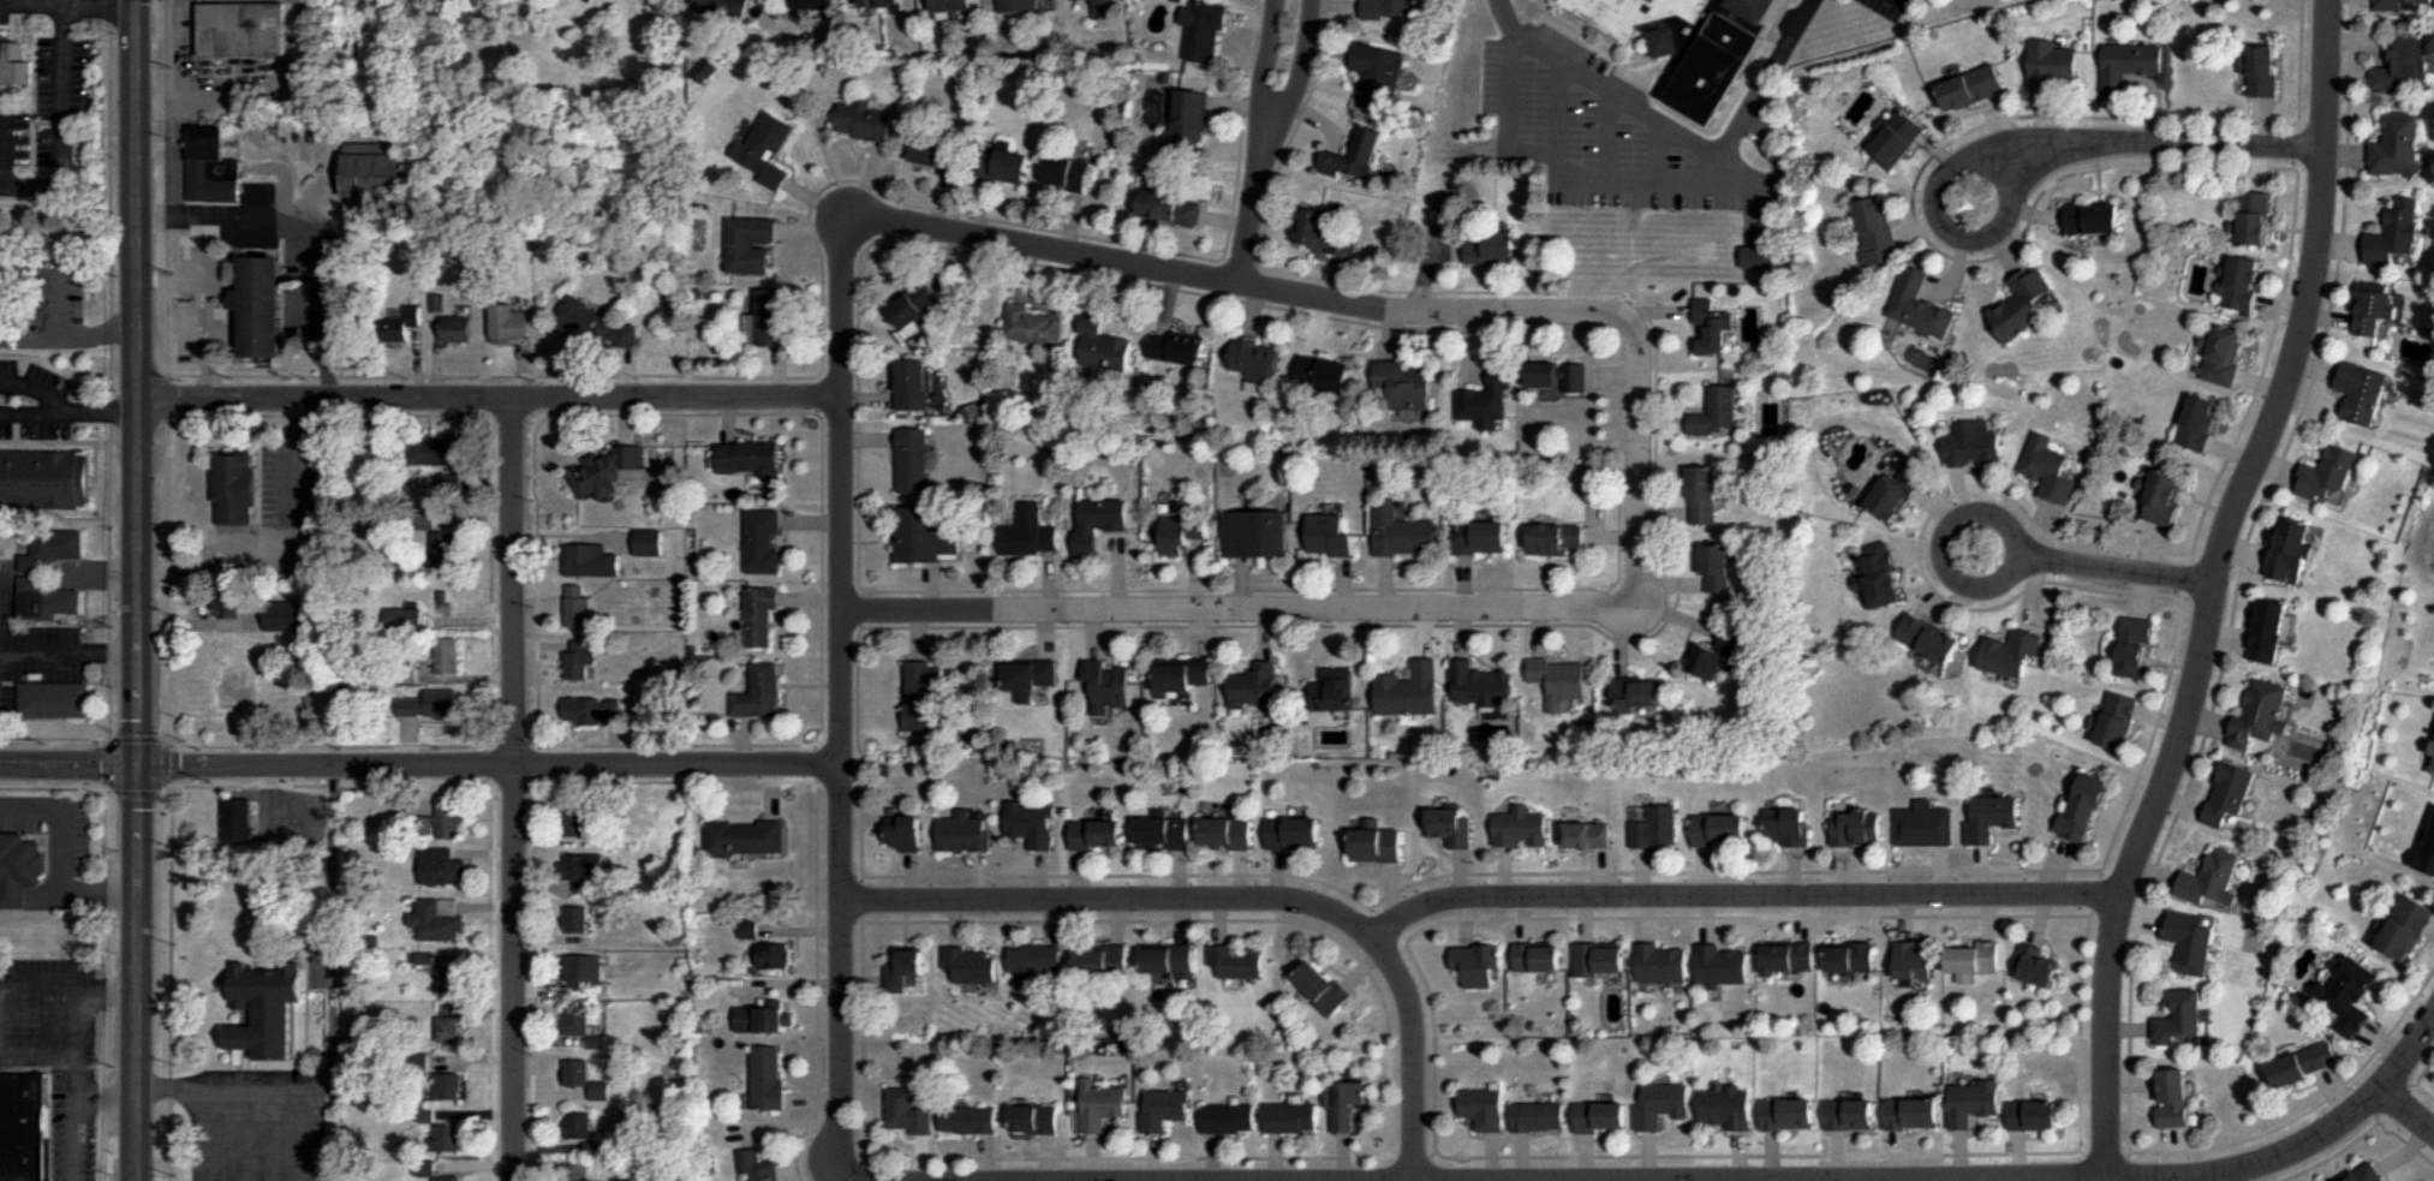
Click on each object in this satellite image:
road: (0, 1)
building: (1093, 2)
building: (813, 4)
building: (879, 4)
building: (1018, 5)
building: (2399, 5)
building: (723, 7)
building: (951, 7)
building: (1388, 7)
road: (29, 8)
parking lot: (1889, 8)
building: (1103, 11)
building: (1205, 28)
building: (244, 30)
building: (1686, 41)
road: (180, 53)
road: (1264, 54)
road: (1301, 59)
building: (2126, 61)
building: (11, 64)
building: (2050, 64)
building: (2403, 68)
building: (2261, 72)
building: (1378, 77)
road: (60, 85)
building: (1969, 87)
road: (1760, 89)
road: (1615, 95)
building: (1188, 115)
building: (863, 123)
parking lot: (50, 130)
parking lot: (1601, 132)
road: (153, 136)
building: (1891, 137)
road: (166, 141)
building: (927, 141)
road: (2160, 144)
building: (2396, 145)
road: (1478, 149)
building: (763, 150)
building: (1353, 153)
road: (1979, 160)
building: (997, 163)
building: (213, 167)
building: (375, 168)
building: (1064, 171)
road: (1645, 181)
road: (1254, 196)
park: (1971, 198)
building: (1169, 209)
road: (161, 210)
parking lot: (240, 216)
building: (2089, 217)
building: (2251, 217)
road: (306, 229)
building: (1326, 229)
building: (1877, 231)
building: (2393, 238)
building: (746, 245)
building: (1487, 247)
building: (1755, 256)
road: (1129, 264)
road: (822, 267)
building: (8, 285)
building: (2239, 285)
building: (907, 299)
building: (2016, 304)
road: (205, 305)
building: (263, 306)
building: (2374, 306)
building: (1916, 308)
building: (764, 318)
building: (400, 323)
building: (507, 323)
building: (595, 323)
building: (1710, 324)
building: (455, 328)
road: (1544, 328)
building: (1027, 329)
road: (70, 342)
building: (1102, 344)
building: (1177, 347)
road: (1639, 353)
building: (2221, 356)
building: (1255, 360)
road: (111, 369)
building: (1320, 371)
building: (1556, 374)
building: (913, 386)
building: (1402, 387)
road: (30, 392)
building: (2361, 392)
road: (489, 398)
building: (1484, 401)
road: (290, 407)
road: (99, 410)
road: (29, 411)
building: (1714, 411)
road: (656, 412)
road: (515, 418)
building: (2196, 420)
road: (489, 423)
building: (1970, 442)
building: (434, 449)
building: (747, 459)
building: (909, 459)
building: (603, 467)
building: (2047, 469)
road: (290, 471)
building: (2327, 475)
building: (44, 479)
building: (234, 488)
building: (1702, 493)
building: (1891, 493)
building: (2160, 497)
parking lot: (280, 507)
building: (1094, 521)
building: (1027, 530)
building: (924, 531)
building: (1398, 531)
building: (1253, 532)
road: (2015, 532)
building: (1179, 533)
building: (1329, 535)
building: (1479, 537)
building: (1555, 538)
building: (762, 539)
building: (649, 541)
building: (446, 548)
park: (1977, 548)
building: (2287, 549)
building: (591, 559)
building: (1716, 567)
road: (2117, 567)
building: (49, 573)
building: (1878, 574)
road: (2190, 575)
road: (821, 577)
road: (2214, 586)
road: (111, 590)
road: (141, 590)
road: (1940, 597)
building: (233, 601)
road: (537, 601)
building: (578, 607)
road: (1236, 609)
building: (763, 614)
building: (291, 615)
building: (406, 619)
road: (196, 622)
building: (2268, 630)
building: (1926, 637)
road: (1615, 640)
building: (2126, 644)
road: (71, 650)
building: (2010, 652)
building: (1714, 655)
building: (447, 656)
building: (580, 658)
building: (406, 672)
building: (1028, 676)
building: (1179, 676)
building: (1557, 680)
building: (1252, 684)
building: (1479, 684)
building: (1332, 686)
building: (1104, 687)
road: (842, 690)
building: (1408, 690)
building: (762, 691)
building: (923, 692)
building: (1633, 693)
building: (56, 699)
building: (432, 704)
building: (591, 710)
building: (2259, 714)
building: (2111, 717)
road: (55, 740)
road: (651, 744)
building: (2432, 747)
road: (2195, 758)
road: (111, 763)
road: (420, 763)
road: (483, 765)
building: (2433, 773)
road: (512, 789)
road: (54, 791)
road: (169, 791)
building: (2225, 793)
building: (2076, 805)
building: (1986, 816)
building: (238, 818)
building: (1031, 821)
road: (494, 822)
road: (62, 823)
building: (441, 823)
building: (581, 823)
building: (1450, 825)
building: (1785, 825)
building: (1853, 825)
building: (1921, 827)
building: (1517, 828)
building: (1652, 828)
building: (903, 830)
building: (1163, 830)
building: (1717, 830)
building: (965, 831)
building: (1096, 831)
building: (1224, 831)
building: (1291, 833)
building: (1583, 834)
building: (744, 837)
road: (817, 842)
building: (2426, 842)
building: (1373, 846)
building: (22, 867)
building: (443, 867)
building: (586, 872)
building: (2209, 878)
road: (2, 896)
road: (17, 897)
road: (85, 897)
road: (1744, 899)
road: (1241, 900)
road: (1633, 917)
building: (579, 919)
building: (440, 920)
building: (2406, 927)
building: (750, 929)
road: (333, 936)
building: (2189, 941)
building: (774, 955)
building: (1535, 955)
building: (1784, 955)
building: (1845, 955)
building: (424, 956)
building: (1970, 956)
building: (1165, 958)
building: (1102, 959)
building: (1595, 959)
building: (1908, 959)
building: (1033, 960)
building: (1235, 960)
road: (533, 962)
building: (1474, 962)
building: (1660, 962)
building: (2032, 964)
building: (970, 965)
building: (1717, 965)
building: (902, 966)
building: (586, 970)
building: (451, 978)
road: (24, 985)
road: (169, 985)
road: (111, 986)
building: (1320, 986)
building: (2344, 994)
building: (269, 1008)
road: (76, 1010)
building: (762, 1016)
building: (2178, 1018)
building: (578, 1020)
building: (449, 1030)
road: (2080, 1033)
building: (596, 1042)
road: (36, 1058)
building: (416, 1061)
building: (2297, 1062)
building: (574, 1070)
building: (768, 1076)
road: (2416, 1078)
building: (451, 1085)
building: (601, 1090)
road: (264, 1096)
building: (2171, 1099)
building: (1973, 1101)
building: (1660, 1103)
road: (73, 1104)
building: (1097, 1104)
building: (1346, 1104)
building: (1163, 1107)
building: (908, 1108)
building: (1481, 1108)
road: (2409, 1108)
building: (1725, 1109)
building: (1786, 1111)
building: (1849, 1113)
building: (1910, 1113)
building: (2030, 1113)
building: (424, 1115)
building: (1535, 1115)
building: (1599, 1115)
building: (1290, 1116)
building: (967, 1117)
building: (1033, 1117)
building: (1227, 1117)
building: (579, 1125)
building: (26, 1126)
parking lot: (261, 1126)
road: (2360, 1135)
building: (447, 1137)
road: (199, 1138)
road: (249, 1138)
building: (591, 1147)
road: (1759, 1153)
road: (1412, 1156)
road: (1361, 1157)
building: (756, 1164)
building: (424, 1168)
building: (578, 1171)
building: (2361, 1174)
building: (448, 1177)
road: (1659, 1179)

